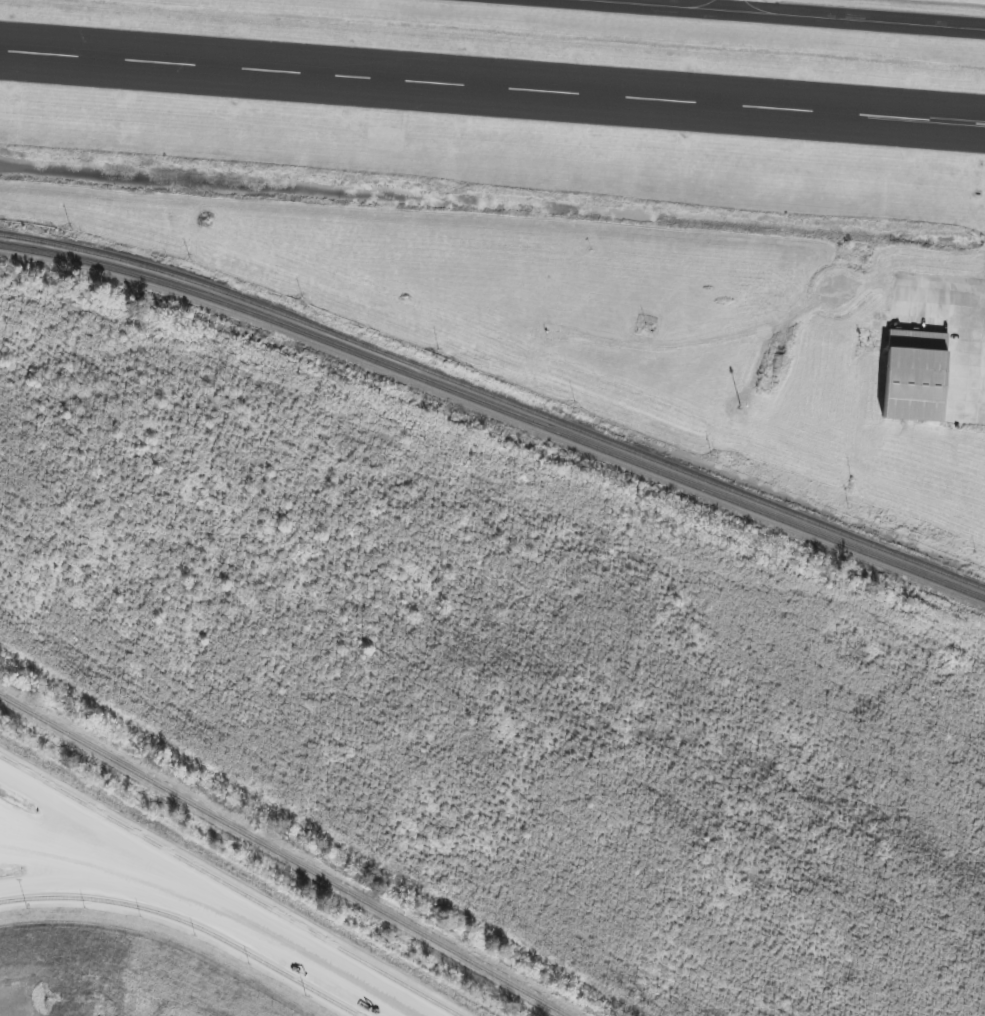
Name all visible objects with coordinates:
airport taxiway: (854, 10)
airport taxiway: (712, 20)
airport runway: (492, 58)
airport runway: (492, 118)
airport: (570, 202)
railway: (143, 279)
airport taxiway: (892, 287)
airport apron: (952, 354)
airport hangar: (912, 376)
building: (912, 376)
railway: (496, 399)
railway: (634, 464)
railway: (284, 855)
road: (251, 928)

